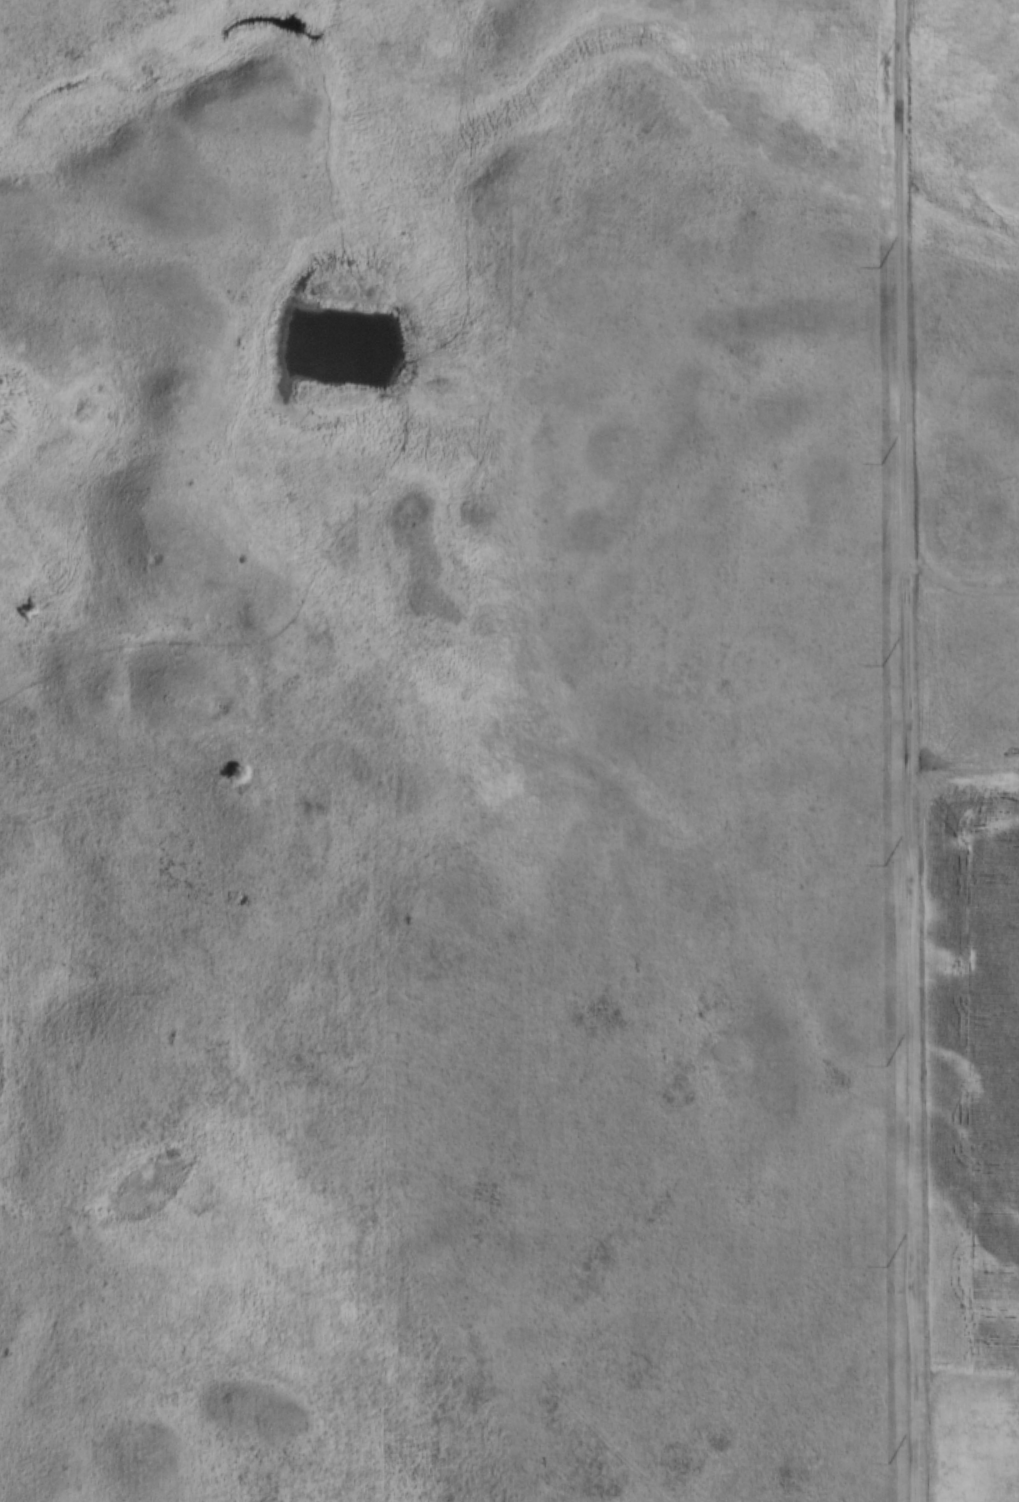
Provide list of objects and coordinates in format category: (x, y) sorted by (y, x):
road: (911, 750)

